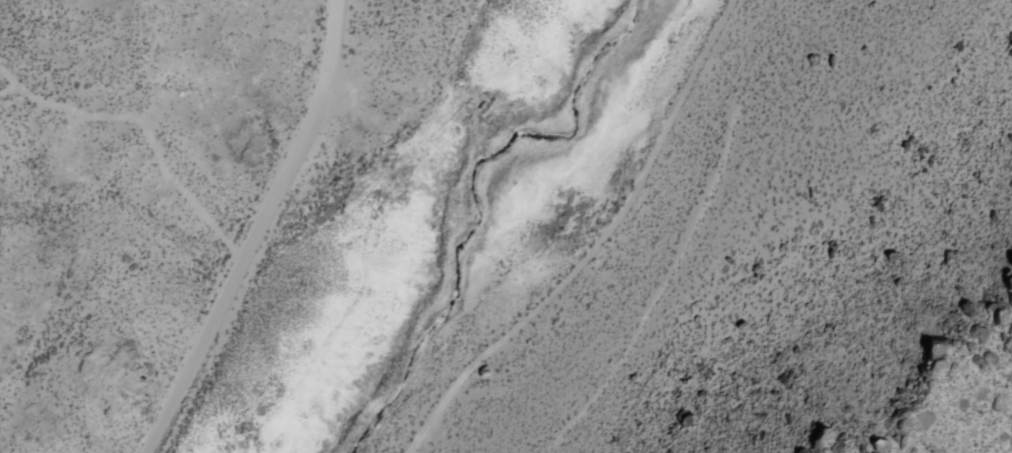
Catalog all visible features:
road: (141, 145)
road: (258, 230)
road: (581, 239)

